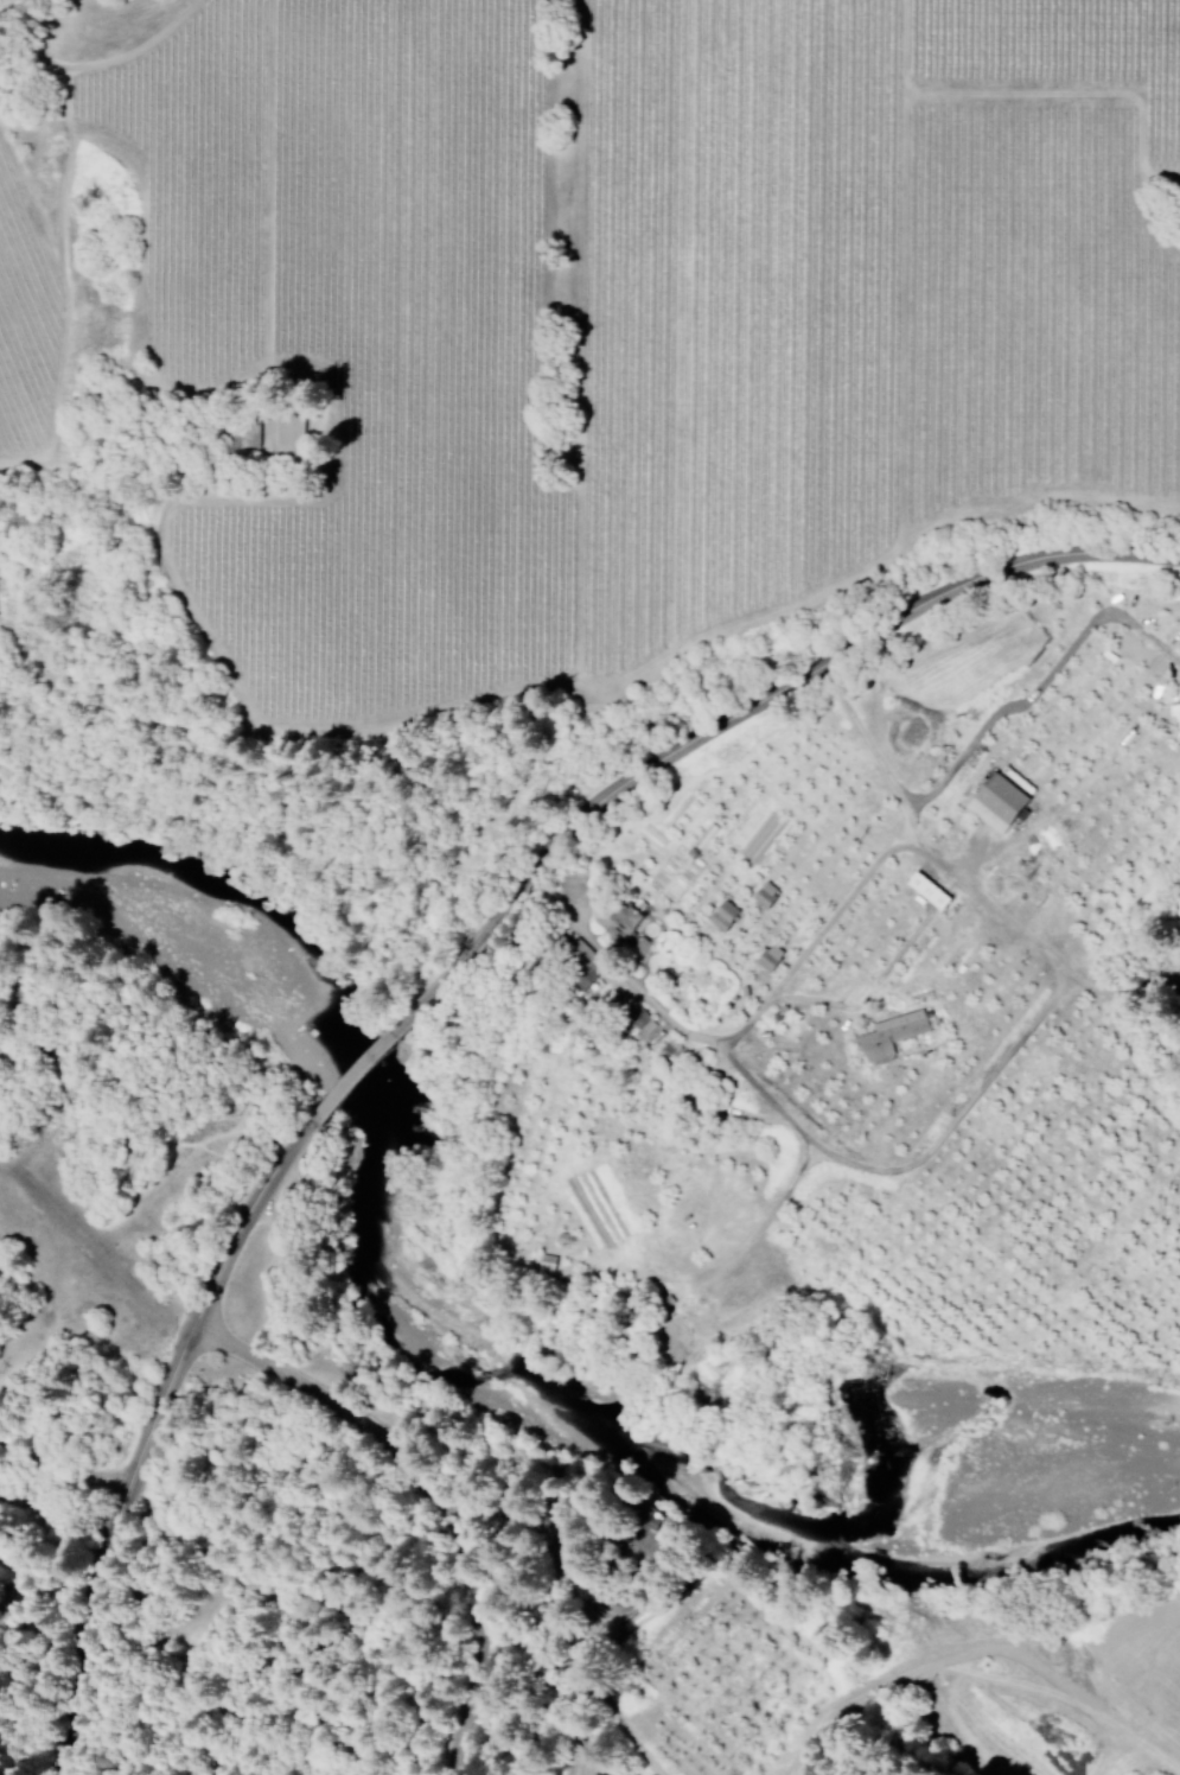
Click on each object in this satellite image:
building: (291, 438)
road: (772, 688)
building: (1002, 801)
building: (767, 896)
road: (570, 916)
building: (726, 916)
building: (623, 922)
building: (772, 958)
building: (587, 962)
building: (894, 1033)
building: (670, 1051)
road: (374, 1055)
river: (466, 1336)
road: (140, 1438)
road: (62, 1482)
road: (432, 1490)
road: (604, 1620)
road: (976, 1654)

